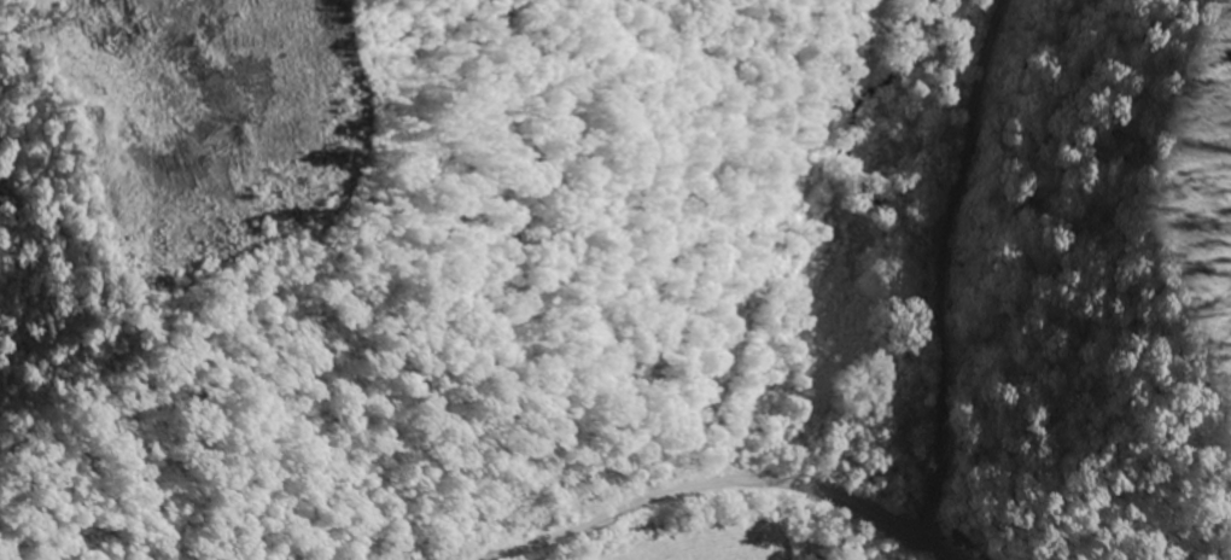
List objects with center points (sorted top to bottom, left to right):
road: (943, 268)
road: (654, 500)
road: (885, 519)
road: (937, 550)

